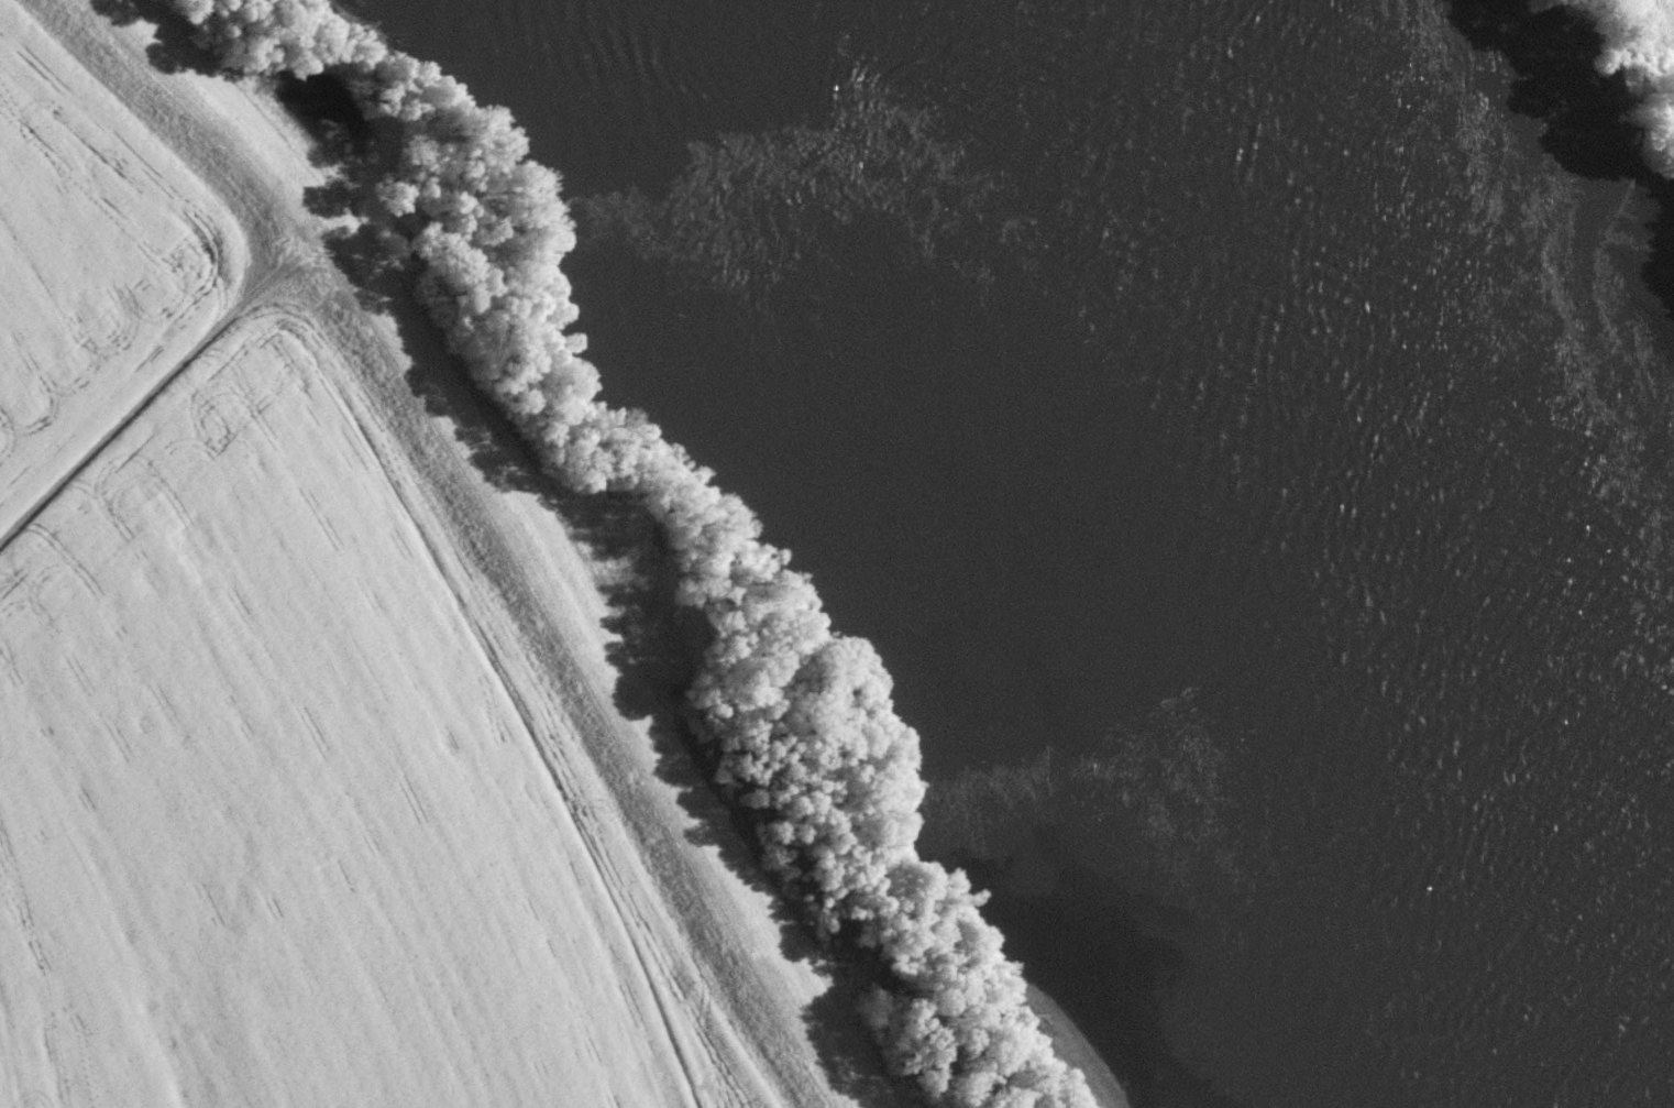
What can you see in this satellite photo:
road: (126, 413)
river: (1240, 517)

